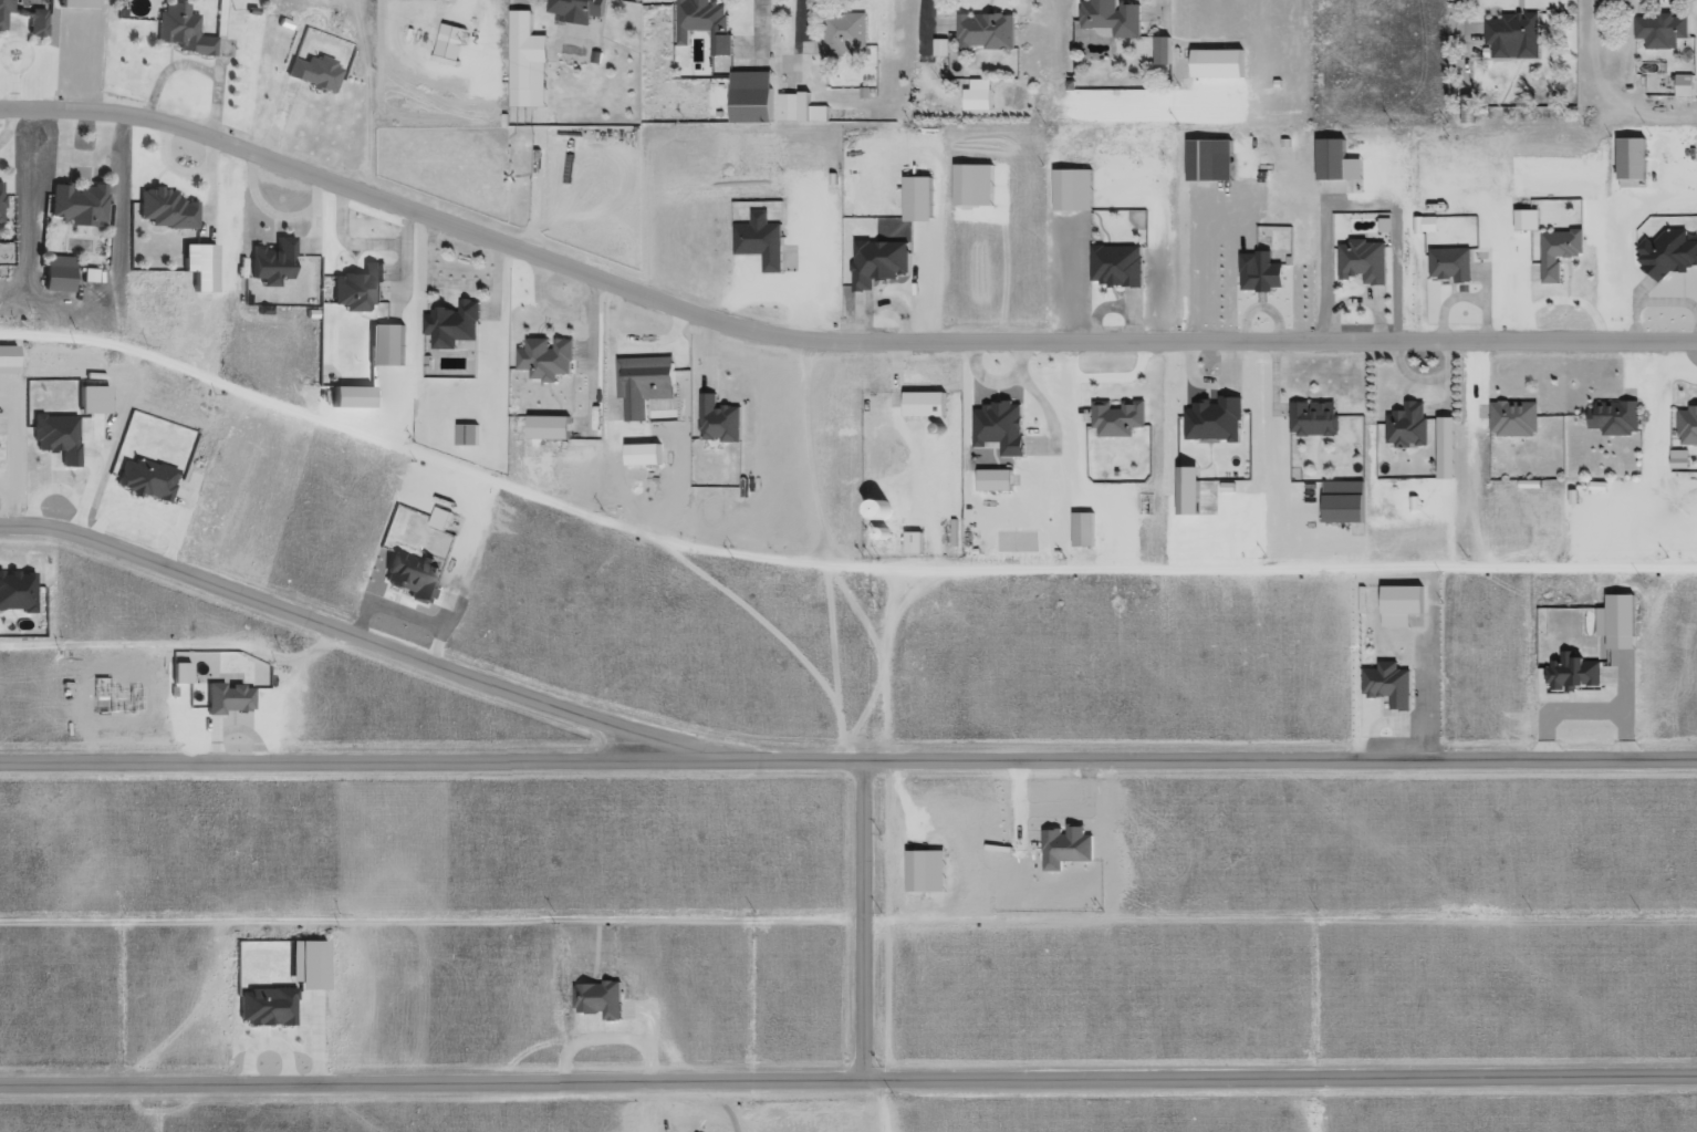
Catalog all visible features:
road: (1104, 0)
building: (74, 4)
road: (1665, 4)
road: (519, 7)
road: (986, 8)
road: (460, 9)
building: (3, 10)
building: (18, 10)
building: (576, 10)
road: (1641, 10)
road: (439, 14)
road: (1511, 17)
building: (1112, 19)
building: (34, 21)
building: (701, 25)
building: (179, 33)
building: (1660, 33)
building: (982, 35)
building: (842, 38)
building: (1516, 38)
road: (1149, 41)
road: (930, 42)
road: (1129, 42)
building: (448, 44)
road: (1091, 44)
road: (1127, 44)
road: (1198, 45)
building: (938, 50)
building: (520, 52)
road: (1149, 53)
building: (1160, 53)
road: (165, 54)
road: (1433, 55)
road: (810, 56)
road: (795, 59)
road: (482, 62)
road: (409, 64)
building: (1215, 66)
road: (181, 72)
road: (745, 74)
building: (312, 75)
road: (1469, 81)
building: (1682, 90)
road: (1394, 94)
road: (362, 95)
building: (753, 98)
building: (977, 98)
road: (923, 100)
road: (117, 103)
building: (789, 111)
building: (1466, 111)
road: (56, 113)
road: (275, 117)
building: (815, 117)
road: (1274, 117)
road: (12, 123)
road: (105, 143)
road: (1233, 144)
road: (1247, 145)
road: (1152, 150)
building: (1696, 156)
building: (1631, 160)
building: (1328, 162)
building: (1206, 164)
road: (863, 167)
road: (154, 178)
road: (86, 180)
road: (1238, 183)
road: (1257, 184)
road: (809, 185)
road: (1227, 185)
building: (971, 187)
road: (1283, 188)
road: (1505, 190)
road: (176, 193)
building: (1068, 193)
road: (1131, 196)
road: (1222, 196)
building: (915, 201)
building: (0, 202)
building: (75, 207)
parking lot: (983, 207)
building: (165, 211)
road: (215, 214)
road: (714, 216)
road: (976, 216)
road: (1222, 220)
building: (1523, 222)
road: (0, 224)
building: (1424, 225)
building: (1414, 227)
road: (316, 229)
road: (269, 238)
building: (758, 242)
road: (937, 256)
building: (1555, 256)
road: (353, 257)
road: (1001, 257)
building: (1664, 257)
building: (4, 258)
road: (1566, 259)
road: (350, 261)
building: (270, 262)
road: (792, 262)
building: (1361, 263)
road: (826, 264)
building: (875, 264)
road: (1319, 267)
road: (1402, 267)
road: (1414, 267)
building: (1448, 267)
building: (194, 268)
road: (1497, 268)
road: (1596, 268)
building: (1115, 269)
road: (1189, 270)
road: (1037, 272)
building: (1258, 272)
building: (1534, 272)
road: (1518, 274)
road: (1346, 277)
building: (55, 279)
road: (885, 281)
road: (1564, 284)
road: (761, 285)
building: (356, 289)
road: (409, 301)
road: (1477, 302)
road: (1558, 303)
road: (86, 307)
road: (1443, 307)
road: (1678, 308)
road: (1633, 310)
road: (499, 319)
road: (361, 320)
road: (715, 324)
building: (451, 326)
road: (1382, 326)
road: (377, 329)
road: (537, 330)
road: (552, 343)
road: (829, 343)
road: (1458, 344)
road: (624, 347)
building: (386, 349)
road: (1276, 354)
road: (650, 355)
building: (544, 361)
road: (1195, 361)
road: (1406, 374)
road: (1118, 380)
road: (540, 386)
building: (642, 386)
road: (1399, 397)
building: (91, 398)
road: (992, 398)
building: (920, 404)
road: (1502, 405)
road: (1696, 405)
road: (568, 419)
building: (1211, 419)
building: (1610, 419)
road: (597, 420)
building: (1118, 420)
building: (1311, 420)
building: (1511, 420)
building: (719, 424)
road: (1072, 426)
road: (1638, 427)
building: (1686, 427)
building: (1406, 428)
building: (549, 430)
building: (998, 430)
building: (56, 436)
building: (465, 437)
road: (1209, 438)
road: (903, 440)
road: (1058, 445)
road: (998, 446)
road: (1694, 446)
road: (608, 453)
road: (804, 455)
building: (645, 457)
road: (1008, 458)
road: (1367, 458)
road: (1169, 459)
road: (1657, 459)
road: (992, 461)
road: (1206, 461)
road: (1313, 461)
road: (1690, 463)
building: (1678, 465)
road: (1696, 467)
building: (143, 478)
building: (995, 482)
road: (1043, 484)
road: (1406, 489)
building: (1595, 489)
road: (1651, 489)
building: (1185, 491)
road: (1295, 495)
road: (1272, 497)
parking lot: (1281, 497)
road: (1445, 498)
road: (1316, 501)
building: (1341, 505)
building: (875, 510)
road: (896, 519)
building: (445, 521)
road: (1196, 521)
road: (1105, 526)
road: (1399, 528)
road: (1048, 530)
road: (1606, 532)
building: (1082, 533)
building: (881, 539)
storage tank: (881, 539)
road: (1628, 539)
building: (913, 547)
road: (1355, 550)
road: (830, 570)
building: (409, 578)
building: (15, 590)
building: (1625, 622)
road: (763, 631)
road: (374, 637)
road: (825, 638)
road: (197, 645)
road: (878, 666)
road: (1426, 666)
building: (1574, 679)
building: (1386, 687)
building: (226, 697)
road: (1083, 752)
road: (429, 757)
road: (1278, 758)
road: (1043, 828)
building: (1063, 848)
road: (1079, 870)
building: (923, 872)
road: (429, 915)
road: (860, 915)
road: (1278, 915)
building: (596, 999)
building: (263, 1006)
road: (847, 1073)
road: (885, 1098)

